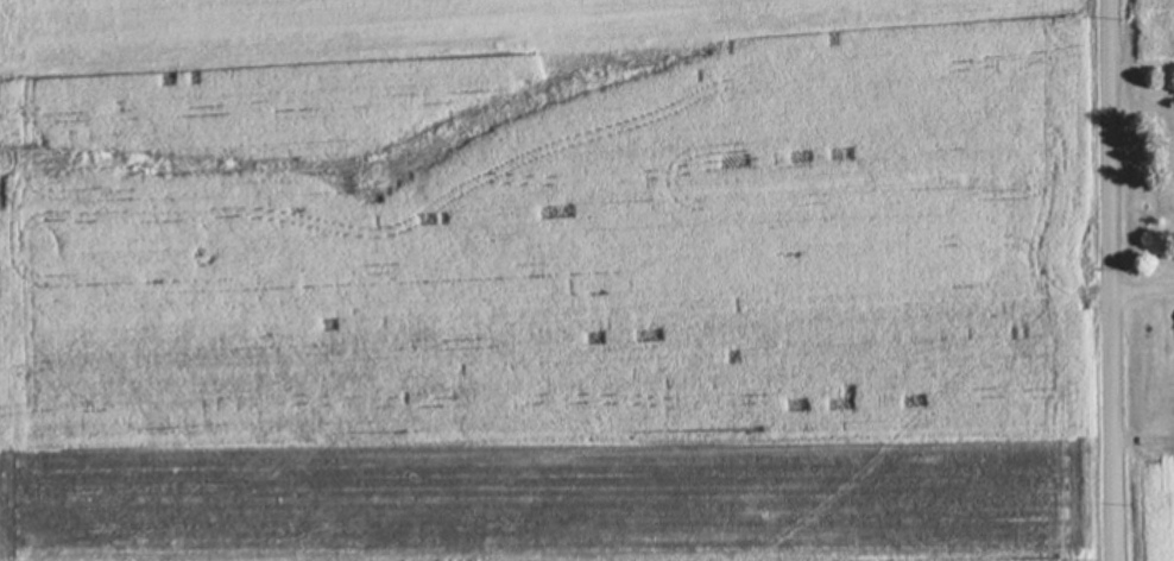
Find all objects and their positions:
road: (1118, 279)
road: (1147, 285)

